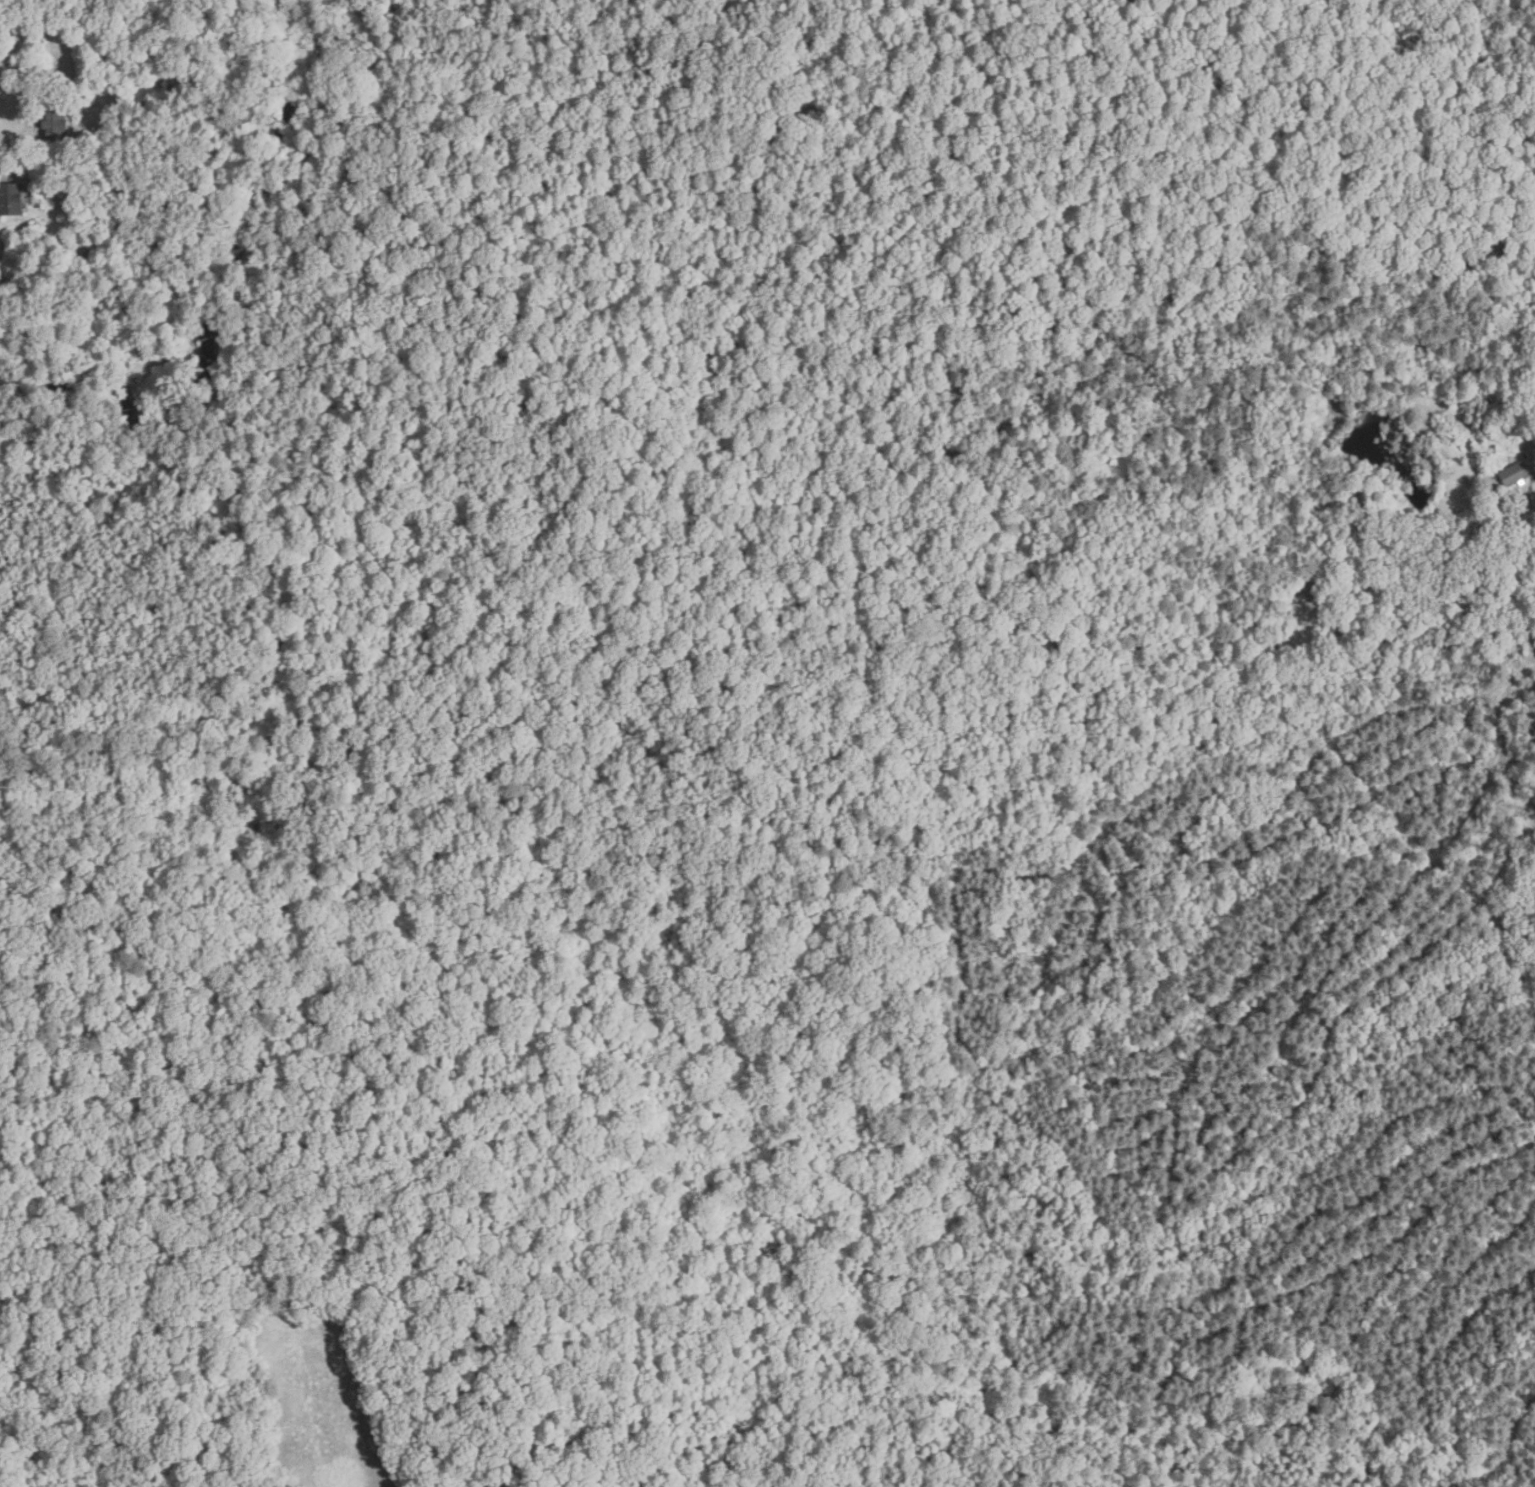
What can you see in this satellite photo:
building: (57, 124)
building: (112, 174)
building: (11, 199)
building: (1524, 424)
building: (1514, 475)
road: (1530, 503)
building: (1307, 610)
road: (1437, 645)

